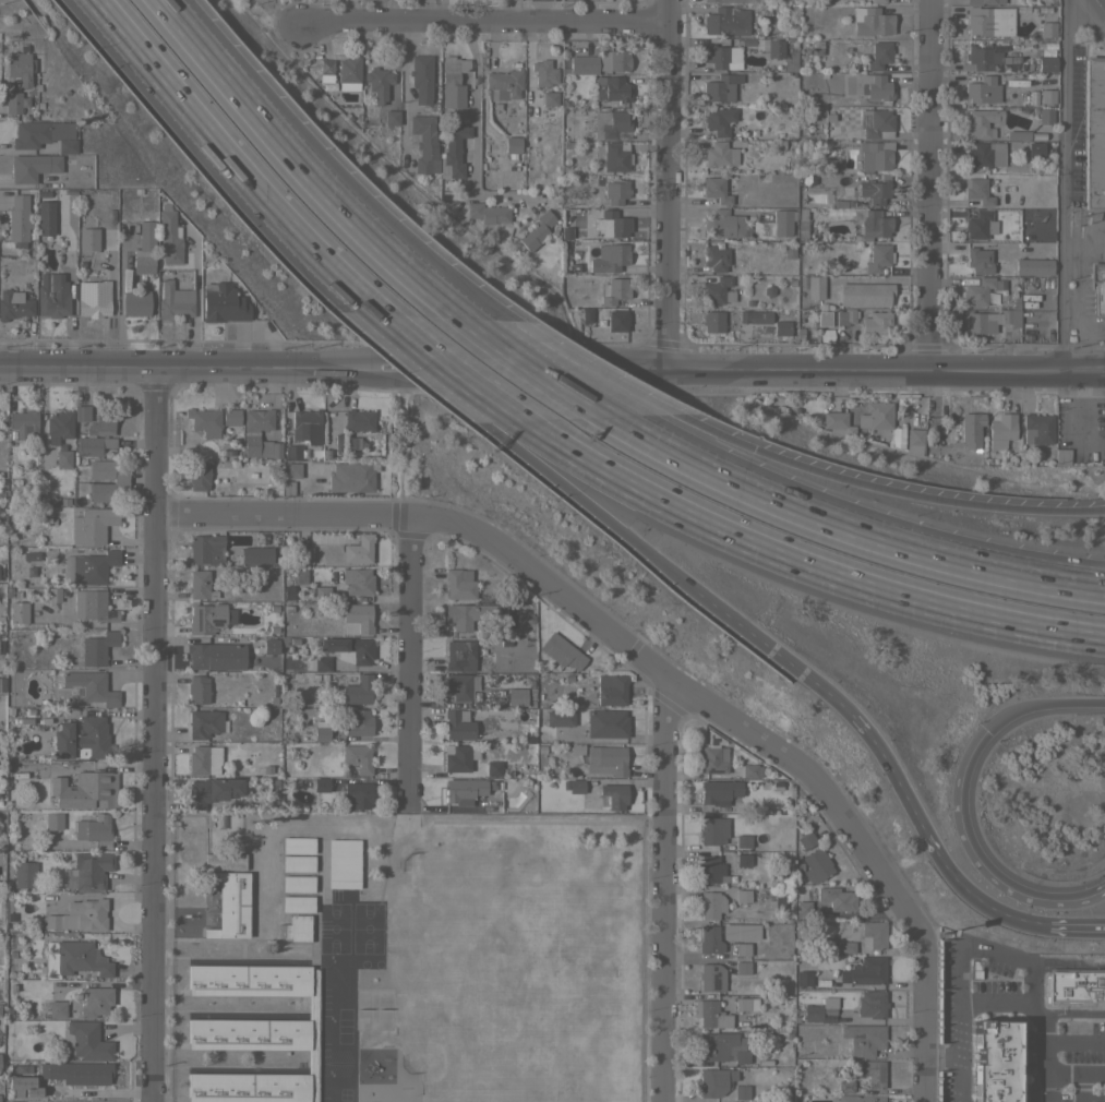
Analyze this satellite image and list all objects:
building: (729, 1)
building: (877, 1)
road: (1104, 1)
building: (982, 2)
road: (272, 4)
road: (352, 10)
road: (276, 11)
road: (480, 20)
building: (725, 21)
building: (870, 21)
building: (988, 21)
building: (1047, 29)
building: (816, 47)
building: (774, 48)
building: (878, 56)
building: (721, 57)
building: (982, 57)
building: (613, 60)
building: (790, 61)
building: (1046, 63)
building: (580, 64)
building: (324, 71)
building: (348, 73)
building: (543, 73)
building: (421, 75)
building: (23, 81)
building: (453, 82)
building: (377, 83)
building: (503, 84)
building: (720, 87)
building: (875, 87)
building: (612, 88)
building: (981, 89)
road: (403, 93)
building: (1047, 96)
building: (549, 101)
road: (473, 108)
road: (253, 110)
building: (1045, 116)
building: (384, 118)
building: (718, 120)
building: (875, 122)
building: (982, 122)
building: (610, 124)
building: (1093, 132)
building: (1018, 134)
building: (44, 135)
building: (1036, 136)
building: (424, 144)
building: (778, 144)
building: (512, 145)
building: (1034, 149)
building: (453, 152)
building: (719, 154)
building: (986, 154)
building: (875, 155)
building: (615, 156)
road: (232, 160)
building: (32, 166)
building: (808, 179)
road: (665, 184)
road: (928, 185)
road: (1062, 185)
building: (716, 190)
building: (980, 190)
building: (874, 191)
building: (615, 192)
building: (1048, 204)
building: (488, 213)
building: (44, 217)
building: (17, 220)
building: (779, 223)
building: (875, 224)
building: (610, 225)
building: (724, 225)
building: (978, 225)
building: (537, 230)
building: (565, 233)
building: (801, 233)
building: (169, 236)
building: (86, 239)
road: (1083, 242)
building: (144, 249)
building: (68, 257)
building: (609, 257)
building: (878, 257)
building: (716, 259)
building: (978, 261)
building: (1033, 266)
building: (575, 267)
road: (408, 268)
road: (424, 268)
building: (801, 282)
building: (1097, 286)
building: (814, 287)
building: (613, 290)
building: (981, 290)
building: (717, 291)
building: (864, 294)
building: (51, 298)
building: (92, 301)
building: (173, 301)
road: (195, 302)
building: (134, 303)
building: (221, 303)
building: (13, 304)
building: (587, 314)
building: (754, 315)
building: (844, 316)
building: (822, 319)
building: (989, 320)
building: (616, 321)
building: (713, 322)
building: (875, 322)
road: (392, 325)
building: (780, 327)
building: (797, 333)
building: (825, 336)
road: (190, 368)
road: (539, 368)
road: (587, 368)
road: (525, 369)
road: (887, 370)
road: (456, 375)
road: (442, 380)
building: (80, 412)
building: (876, 416)
building: (230, 417)
building: (358, 420)
building: (101, 421)
building: (204, 421)
building: (838, 423)
building: (22, 426)
building: (57, 426)
building: (305, 427)
building: (1001, 427)
building: (1037, 429)
building: (937, 430)
building: (963, 430)
building: (250, 435)
building: (898, 435)
building: (914, 436)
building: (93, 445)
building: (291, 453)
building: (1061, 456)
building: (61, 457)
building: (973, 460)
building: (291, 470)
building: (199, 477)
building: (351, 477)
building: (119, 481)
road: (884, 490)
road: (778, 505)
building: (91, 526)
building: (205, 549)
building: (358, 550)
building: (255, 555)
building: (303, 555)
road: (793, 562)
building: (87, 567)
road: (668, 568)
road: (1032, 568)
road: (1032, 576)
building: (357, 582)
building: (197, 584)
building: (459, 584)
building: (322, 594)
building: (92, 607)
building: (17, 612)
building: (468, 614)
building: (208, 619)
building: (356, 619)
road: (591, 621)
building: (269, 647)
building: (96, 649)
building: (349, 649)
building: (561, 651)
building: (459, 656)
building: (214, 657)
road: (406, 662)
building: (317, 663)
building: (1, 684)
building: (460, 686)
building: (88, 687)
building: (356, 688)
building: (197, 690)
building: (611, 690)
building: (516, 696)
building: (558, 718)
building: (204, 723)
building: (359, 723)
building: (606, 723)
building: (457, 726)
building: (321, 731)
road: (154, 734)
building: (82, 739)
building: (357, 757)
building: (456, 758)
building: (204, 759)
building: (606, 759)
building: (712, 759)
building: (493, 768)
building: (750, 770)
road: (890, 771)
building: (321, 784)
building: (576, 786)
building: (85, 790)
building: (212, 791)
building: (463, 791)
building: (719, 793)
building: (357, 795)
building: (612, 796)
road: (961, 802)
building: (53, 820)
building: (95, 829)
building: (712, 830)
building: (743, 841)
building: (803, 841)
building: (298, 846)
building: (742, 860)
building: (224, 861)
building: (298, 863)
building: (343, 863)
building: (816, 865)
building: (710, 870)
building: (88, 871)
building: (25, 874)
building: (297, 884)
road: (661, 888)
road: (972, 895)
building: (742, 896)
building: (833, 898)
building: (297, 903)
building: (230, 905)
building: (710, 905)
building: (803, 909)
building: (80, 915)
road: (1074, 927)
building: (298, 929)
building: (740, 932)
building: (873, 934)
building: (709, 939)
building: (844, 947)
building: (741, 949)
building: (74, 958)
building: (743, 968)
building: (864, 971)
building: (711, 978)
building: (803, 978)
building: (1074, 985)
building: (947, 991)
building: (96, 1002)
building: (746, 1004)
building: (870, 1004)
road: (966, 1004)
building: (57, 1008)
building: (818, 1009)
building: (1072, 1011)
building: (709, 1014)
road: (921, 1023)
building: (1024, 1030)
building: (254, 1033)
building: (863, 1038)
building: (85, 1041)
building: (714, 1045)
building: (741, 1056)
road: (1043, 1057)
building: (994, 1061)
building: (75, 1073)
building: (873, 1073)
building: (714, 1081)
building: (845, 1086)
road: (1042, 1088)
building: (741, 1092)
building: (862, 1099)
building: (11, 1101)

